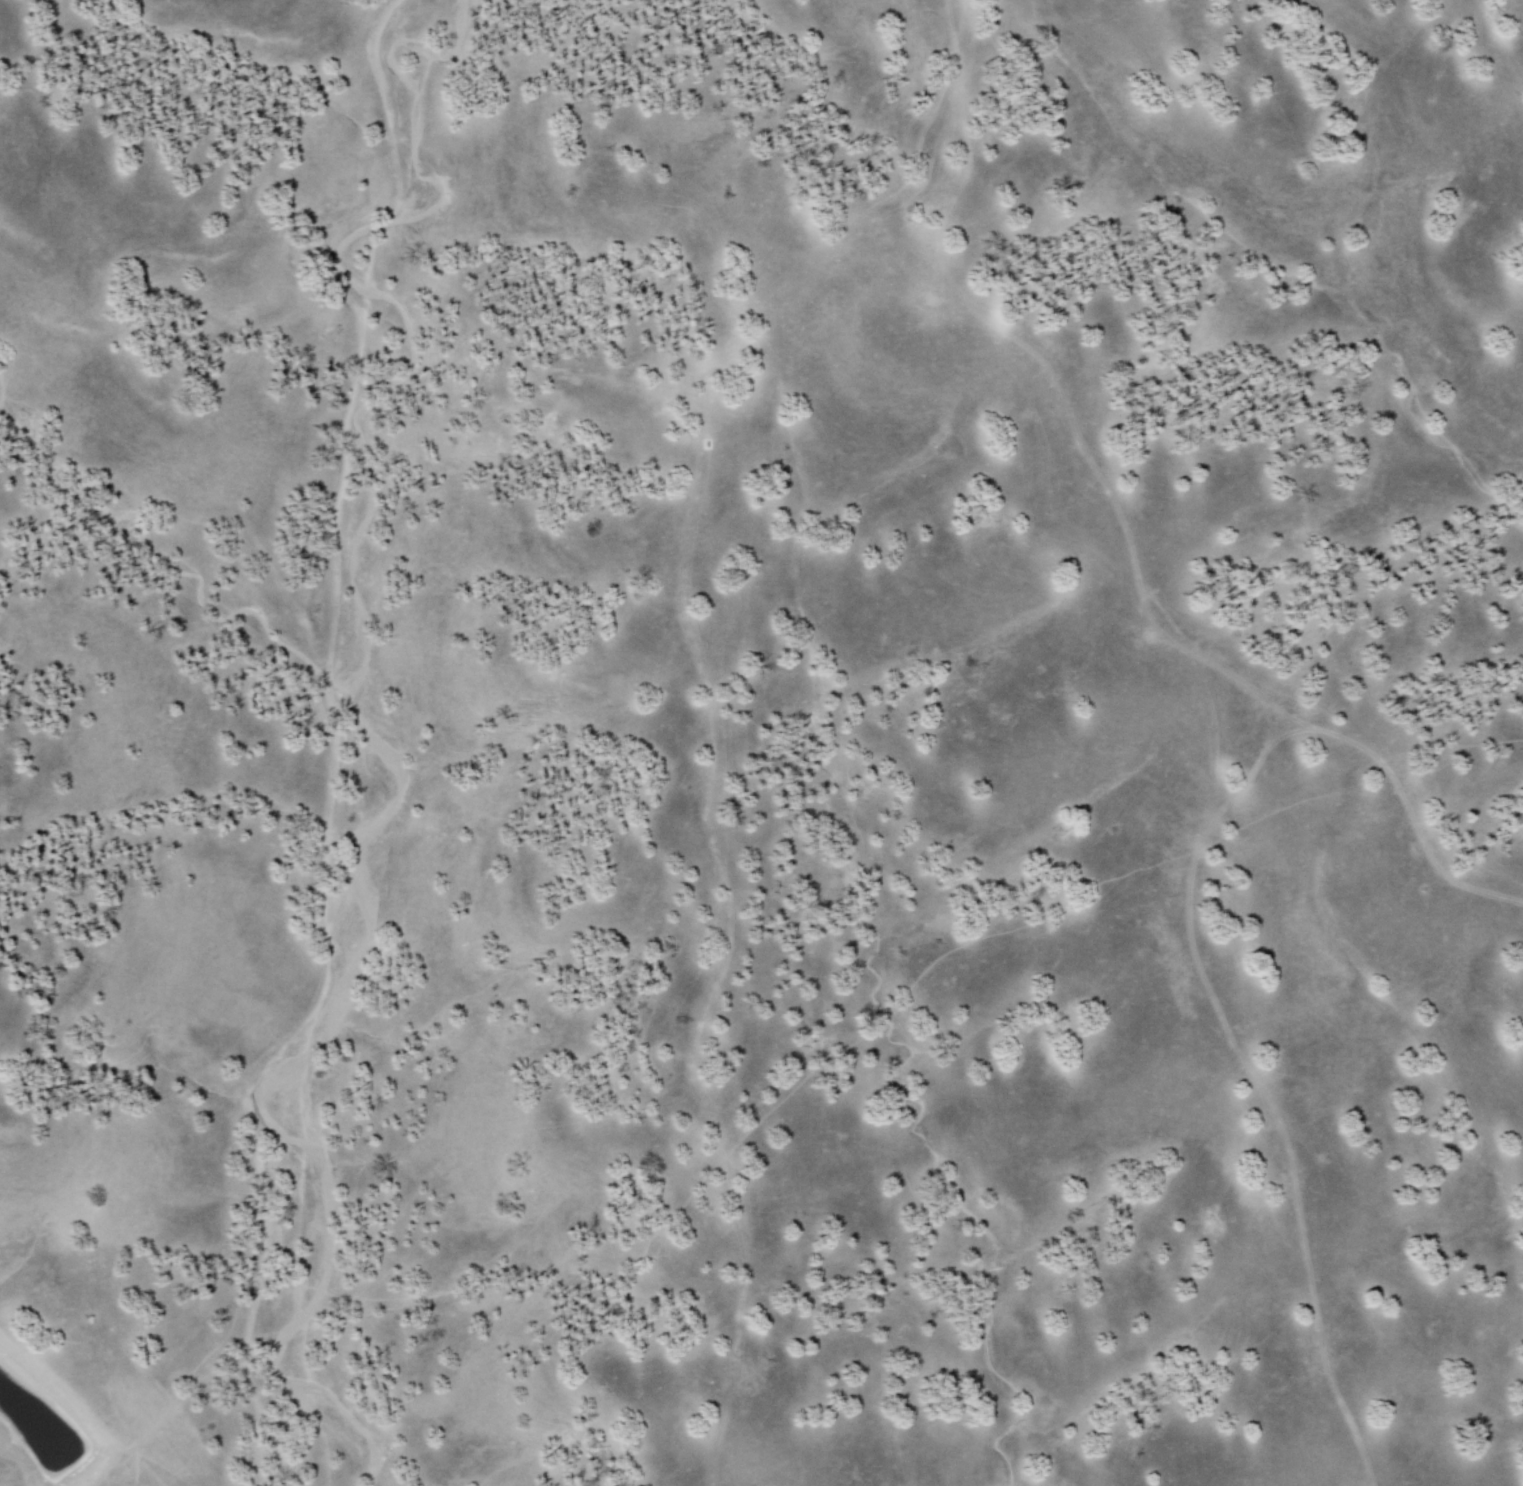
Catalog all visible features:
road: (1039, 352)
road: (1285, 711)
road: (1262, 717)
road: (1291, 728)
road: (1414, 827)
road: (1271, 1103)
dam: (102, 1467)

